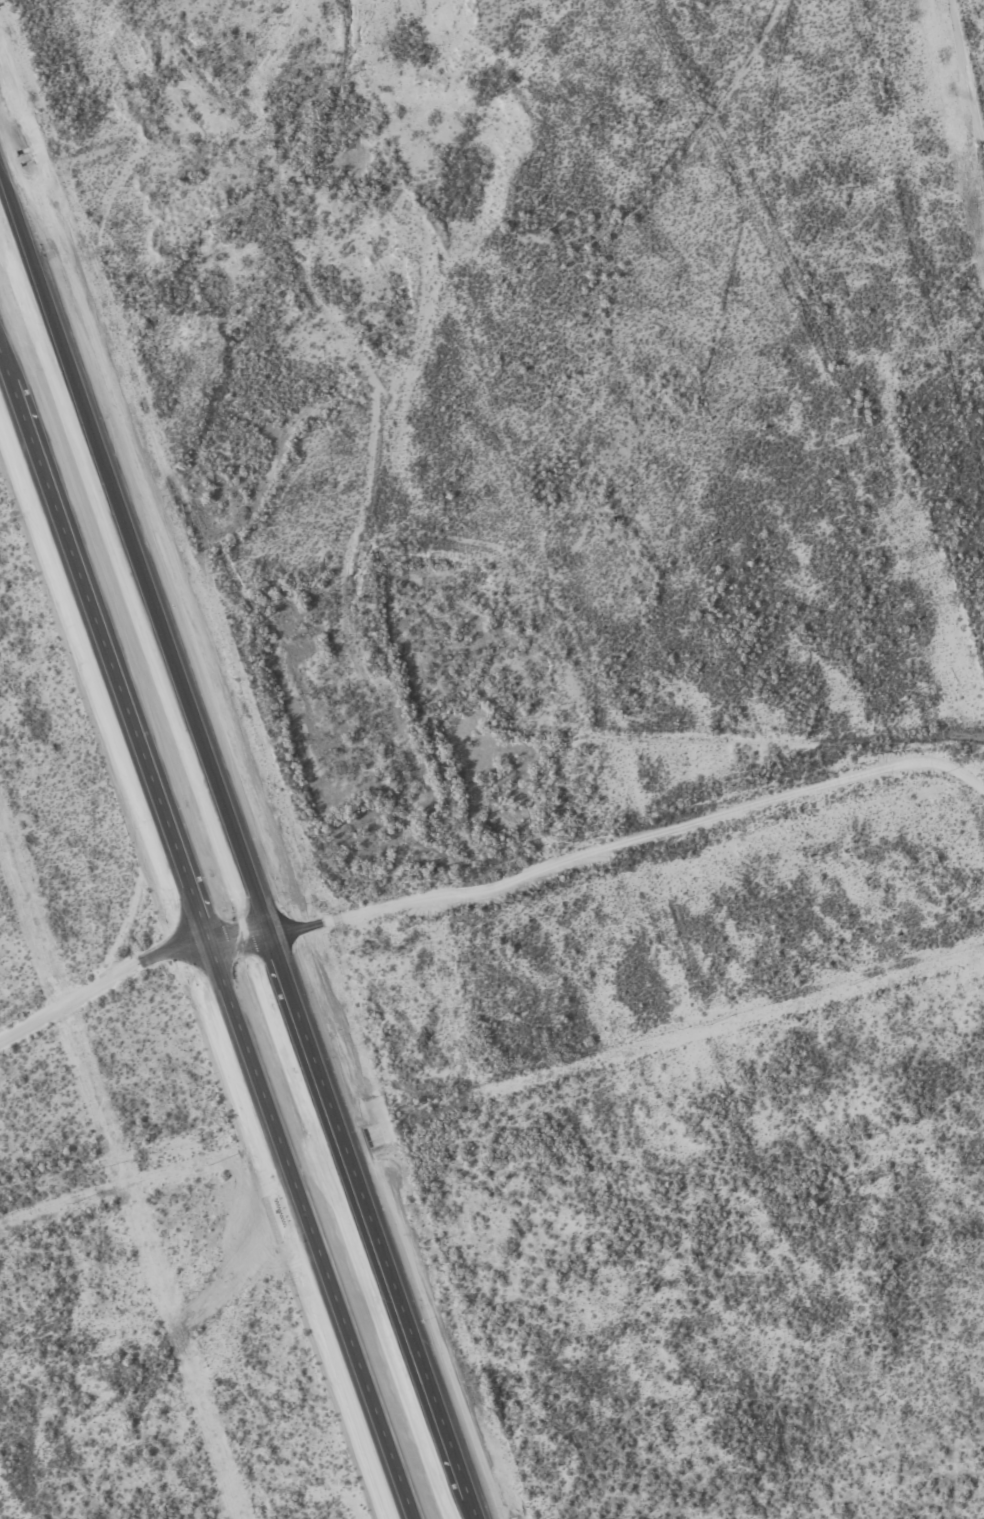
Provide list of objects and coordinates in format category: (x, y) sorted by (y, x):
road: (911, 233)
road: (390, 416)
road: (536, 534)
road: (241, 841)
road: (131, 971)

